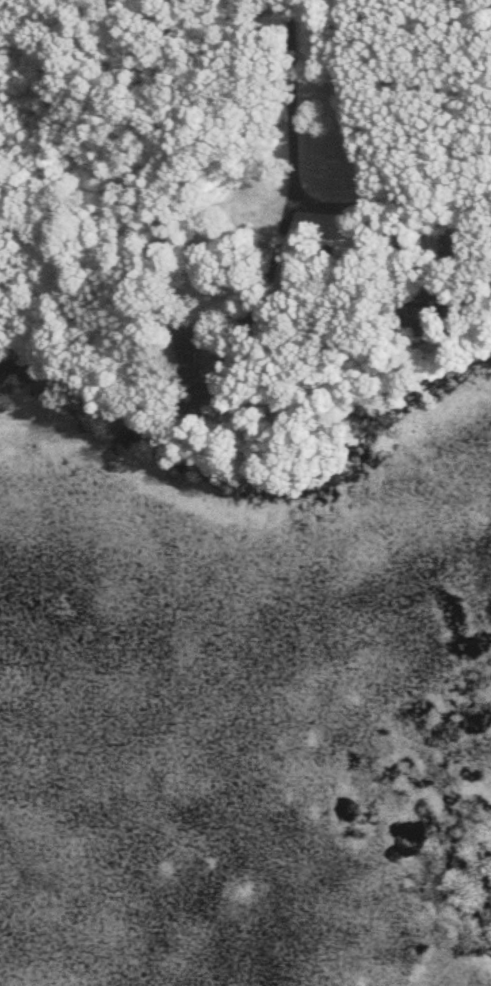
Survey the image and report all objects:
road: (287, 96)
road: (361, 206)
building: (459, 240)
road: (262, 273)
building: (430, 307)
building: (193, 369)

